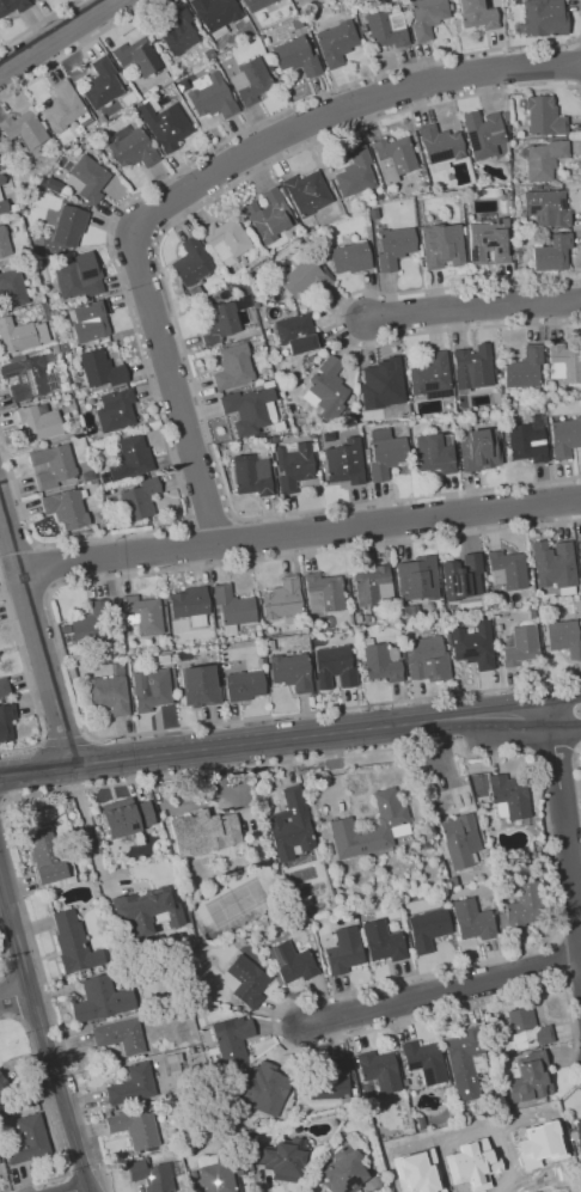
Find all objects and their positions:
building: (256, 4)
building: (12, 6)
building: (216, 12)
building: (476, 14)
building: (428, 17)
building: (543, 17)
road: (38, 24)
building: (386, 29)
building: (179, 31)
road: (62, 38)
building: (337, 42)
road: (75, 48)
building: (137, 56)
building: (296, 57)
road: (577, 65)
building: (253, 80)
building: (100, 84)
building: (214, 98)
building: (63, 108)
building: (544, 117)
building: (165, 126)
building: (23, 129)
building: (483, 134)
building: (440, 143)
building: (133, 149)
building: (395, 158)
building: (544, 159)
building: (355, 173)
building: (88, 178)
building: (1, 179)
road: (198, 184)
building: (307, 192)
building: (2, 206)
building: (546, 207)
building: (268, 216)
building: (68, 226)
building: (227, 237)
building: (490, 243)
building: (4, 246)
building: (395, 246)
building: (442, 246)
road: (108, 252)
building: (552, 252)
building: (350, 257)
building: (190, 262)
building: (74, 281)
building: (304, 282)
building: (11, 289)
road: (475, 310)
road: (337, 317)
building: (90, 320)
building: (220, 323)
road: (176, 326)
building: (293, 335)
building: (16, 336)
building: (563, 365)
building: (233, 367)
building: (475, 367)
building: (99, 369)
building: (524, 369)
building: (430, 373)
building: (26, 377)
building: (381, 380)
building: (325, 389)
building: (115, 410)
building: (247, 410)
building: (37, 422)
building: (565, 436)
building: (525, 441)
building: (478, 448)
building: (385, 452)
building: (434, 453)
building: (132, 458)
building: (345, 461)
building: (51, 465)
building: (293, 466)
building: (250, 475)
building: (140, 500)
building: (66, 508)
road: (298, 538)
road: (247, 539)
road: (177, 548)
building: (579, 550)
building: (555, 564)
road: (45, 566)
building: (508, 568)
building: (416, 577)
building: (464, 577)
building: (369, 586)
building: (325, 591)
building: (282, 599)
building: (189, 603)
building: (233, 606)
building: (143, 613)
building: (93, 625)
building: (563, 634)
road: (35, 640)
road: (61, 644)
building: (473, 644)
building: (521, 648)
building: (427, 659)
building: (380, 664)
building: (334, 667)
building: (290, 671)
road: (26, 677)
building: (198, 685)
building: (244, 685)
building: (4, 686)
building: (149, 689)
building: (110, 691)
road: (565, 705)
road: (565, 720)
building: (6, 722)
road: (66, 738)
road: (275, 740)
road: (551, 747)
road: (2, 750)
road: (270, 763)
road: (577, 769)
building: (510, 795)
road: (1, 801)
building: (126, 818)
building: (290, 825)
road: (88, 826)
road: (567, 826)
building: (369, 827)
building: (203, 832)
building: (459, 844)
building: (48, 854)
building: (524, 909)
building: (143, 911)
building: (471, 919)
building: (428, 929)
building: (383, 941)
building: (74, 943)
building: (345, 952)
road: (5, 956)
building: (292, 961)
building: (247, 982)
road: (442, 992)
road: (14, 994)
building: (104, 1000)
building: (526, 1028)
road: (42, 1032)
building: (120, 1037)
building: (233, 1039)
road: (30, 1041)
building: (424, 1060)
building: (465, 1062)
building: (379, 1070)
building: (530, 1077)
building: (330, 1081)
building: (2, 1086)
building: (132, 1086)
building: (270, 1086)
building: (134, 1127)
building: (579, 1132)
building: (27, 1139)
building: (282, 1160)
building: (470, 1162)
road: (103, 1166)
building: (220, 1170)
building: (341, 1170)
building: (418, 1172)
building: (155, 1174)
road: (82, 1190)

